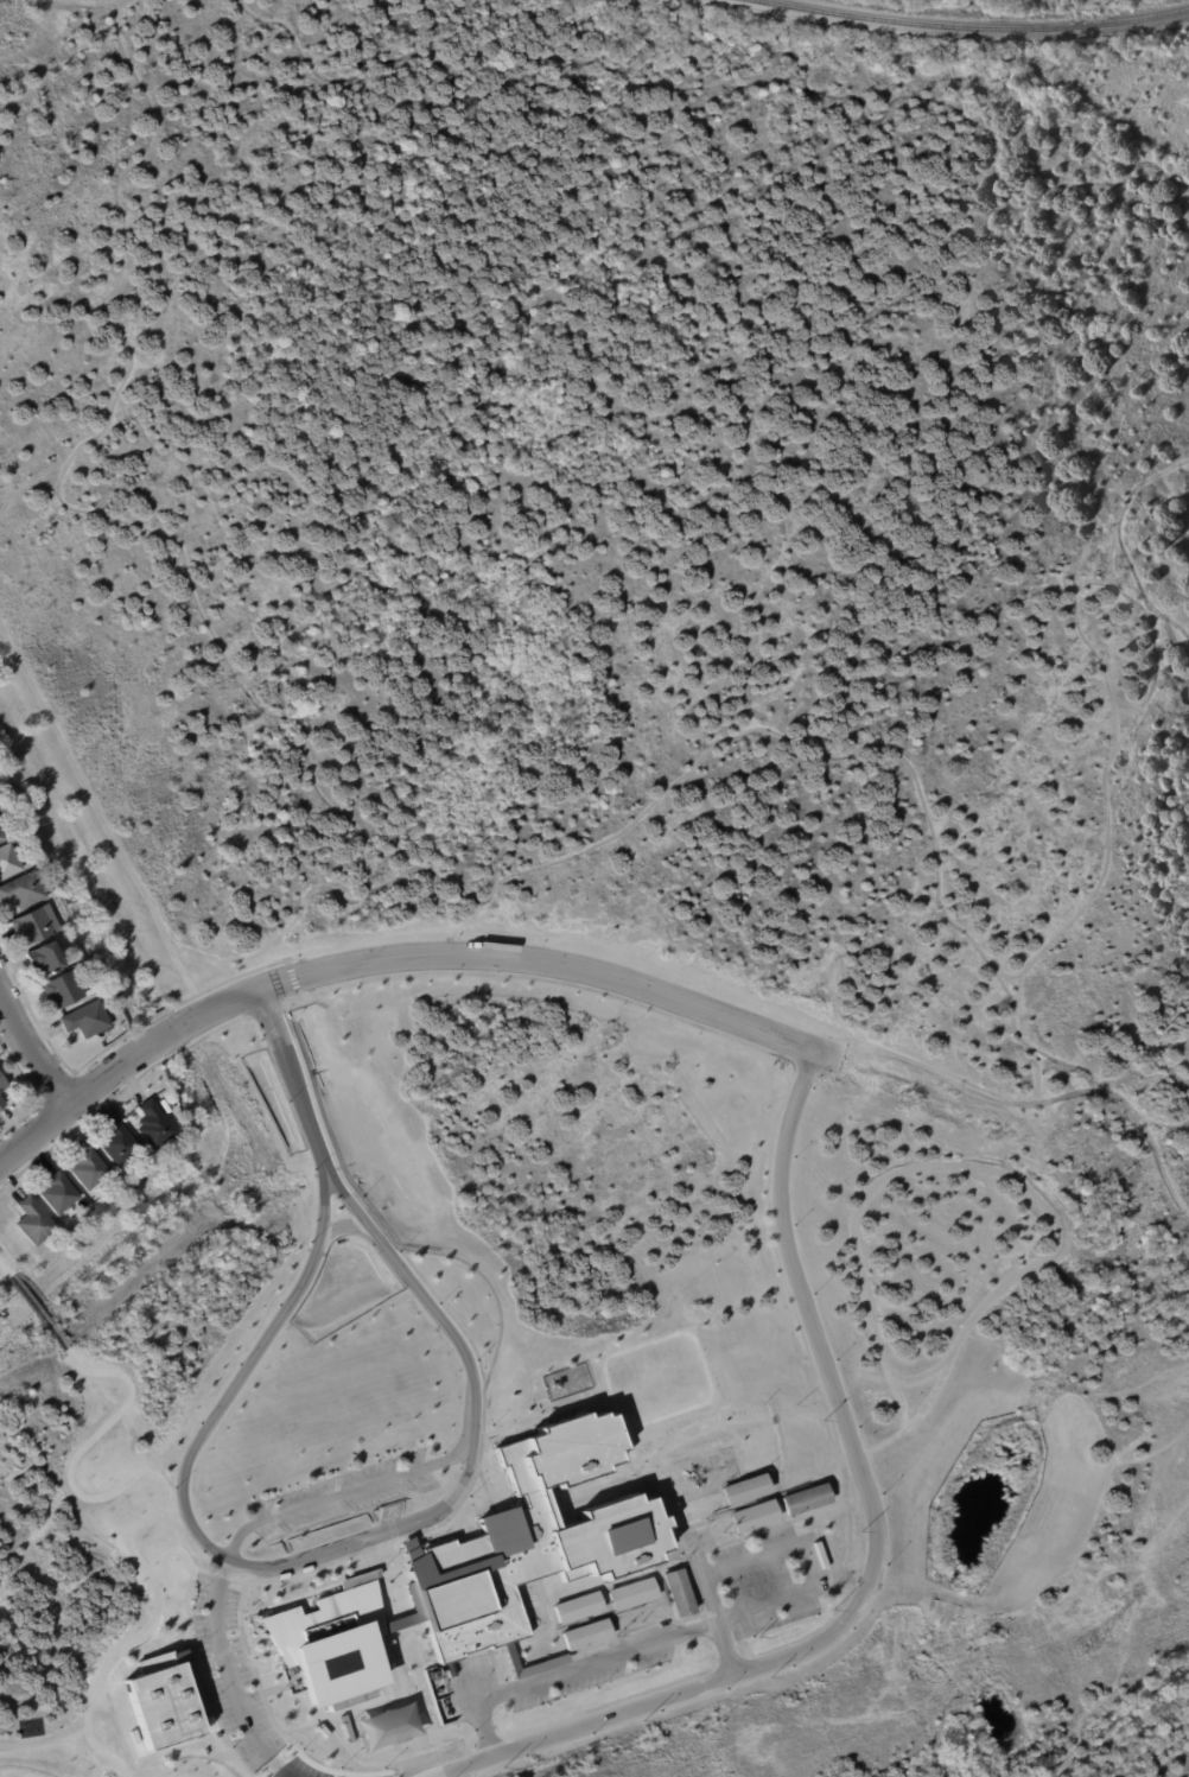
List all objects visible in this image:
railway: (973, 26)
building: (1, 808)
building: (0, 837)
building: (9, 861)
building: (21, 891)
building: (68, 921)
building: (31, 926)
building: (43, 958)
road: (540, 962)
road: (294, 985)
building: (58, 991)
building: (83, 1020)
road: (157, 1040)
road: (31, 1054)
road: (290, 1079)
building: (4, 1085)
road: (1032, 1098)
building: (2, 1104)
building: (151, 1125)
road: (34, 1134)
building: (112, 1140)
building: (142, 1157)
building: (85, 1169)
road: (1006, 1174)
building: (56, 1194)
road: (348, 1200)
road: (322, 1205)
building: (30, 1221)
road: (342, 1224)
road: (6, 1270)
road: (0, 1271)
road: (489, 1284)
road: (40, 1307)
road: (446, 1322)
road: (917, 1377)
road: (224, 1402)
park: (581, 1414)
road: (479, 1441)
building: (743, 1491)
road: (349, 1492)
parking lot: (346, 1496)
building: (805, 1502)
road: (164, 1505)
building: (751, 1518)
road: (375, 1534)
building: (527, 1538)
road: (172, 1546)
road: (879, 1546)
road: (699, 1556)
road: (808, 1574)
road: (220, 1575)
road: (237, 1581)
parking lot: (765, 1582)
building: (673, 1594)
building: (627, 1597)
building: (573, 1610)
building: (583, 1636)
building: (326, 1644)
power tower: (1093, 1645)
road: (598, 1658)
road: (201, 1668)
parking lot: (230, 1674)
road: (231, 1678)
building: (165, 1701)
road: (483, 1712)
road: (191, 1770)
park: (24, 1771)
road: (438, 1772)

